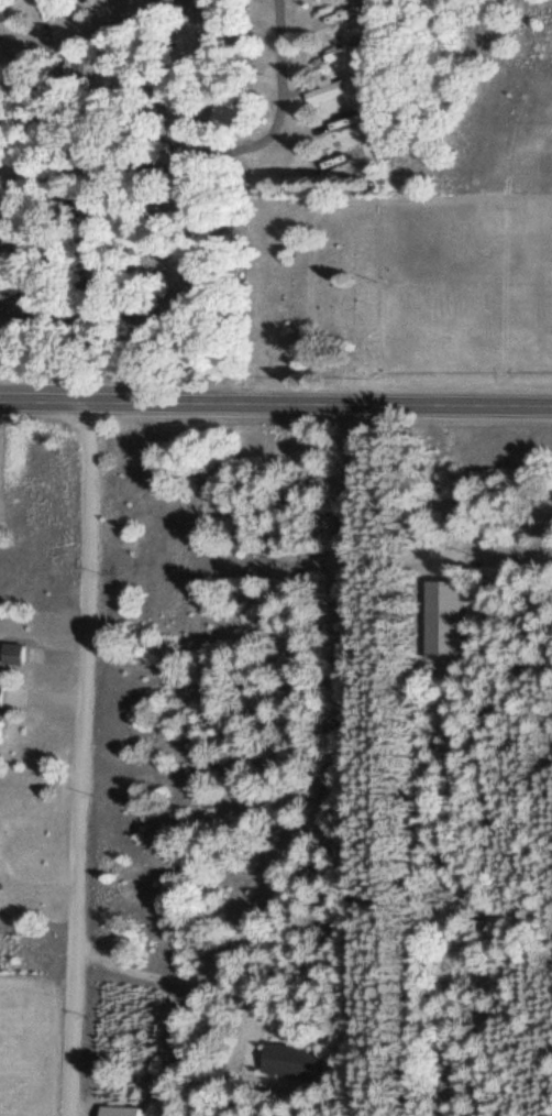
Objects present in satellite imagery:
building: (52, 11)
road: (97, 29)
building: (340, 53)
road: (197, 86)
building: (334, 90)
building: (232, 116)
building: (48, 152)
road: (103, 169)
road: (13, 178)
road: (196, 218)
park: (312, 288)
road: (275, 405)
building: (15, 655)
building: (2, 713)
road: (84, 759)
building: (296, 1061)
building: (121, 1110)

